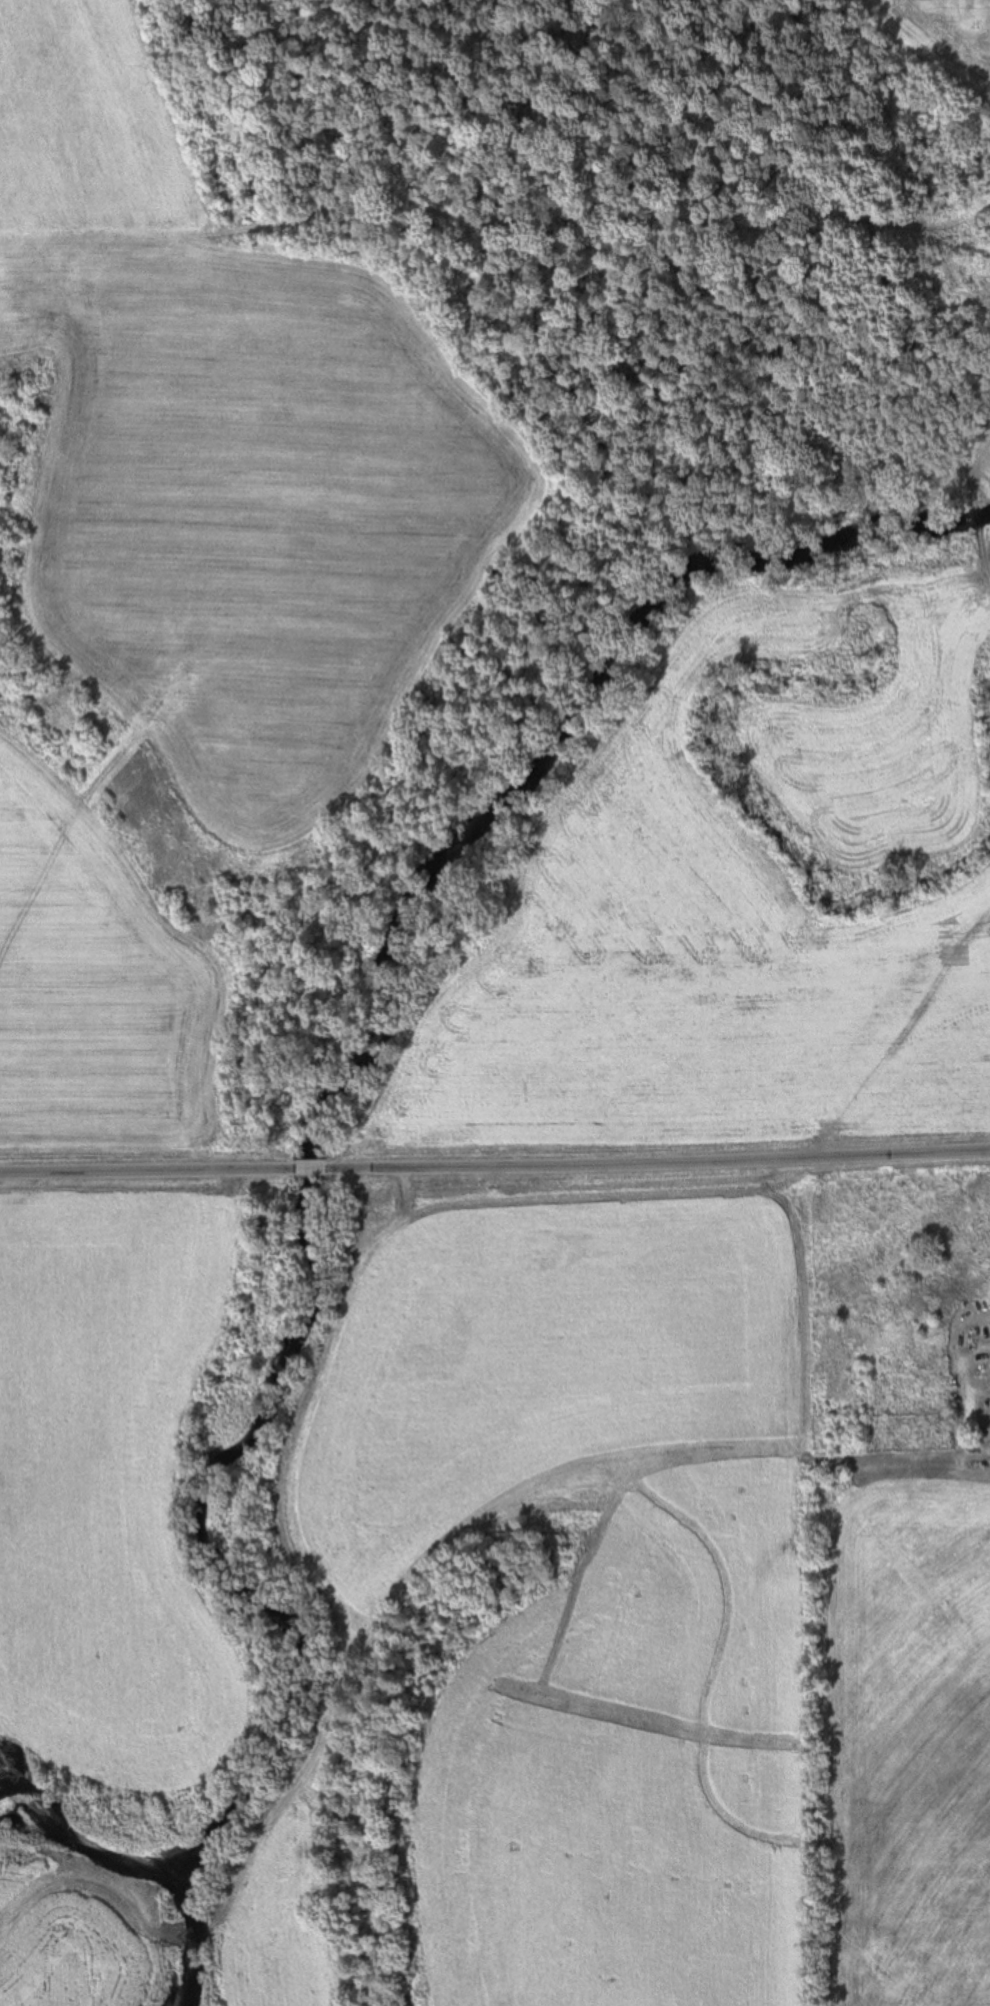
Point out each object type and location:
road: (495, 1160)
river: (52, 1869)
river: (157, 1953)

